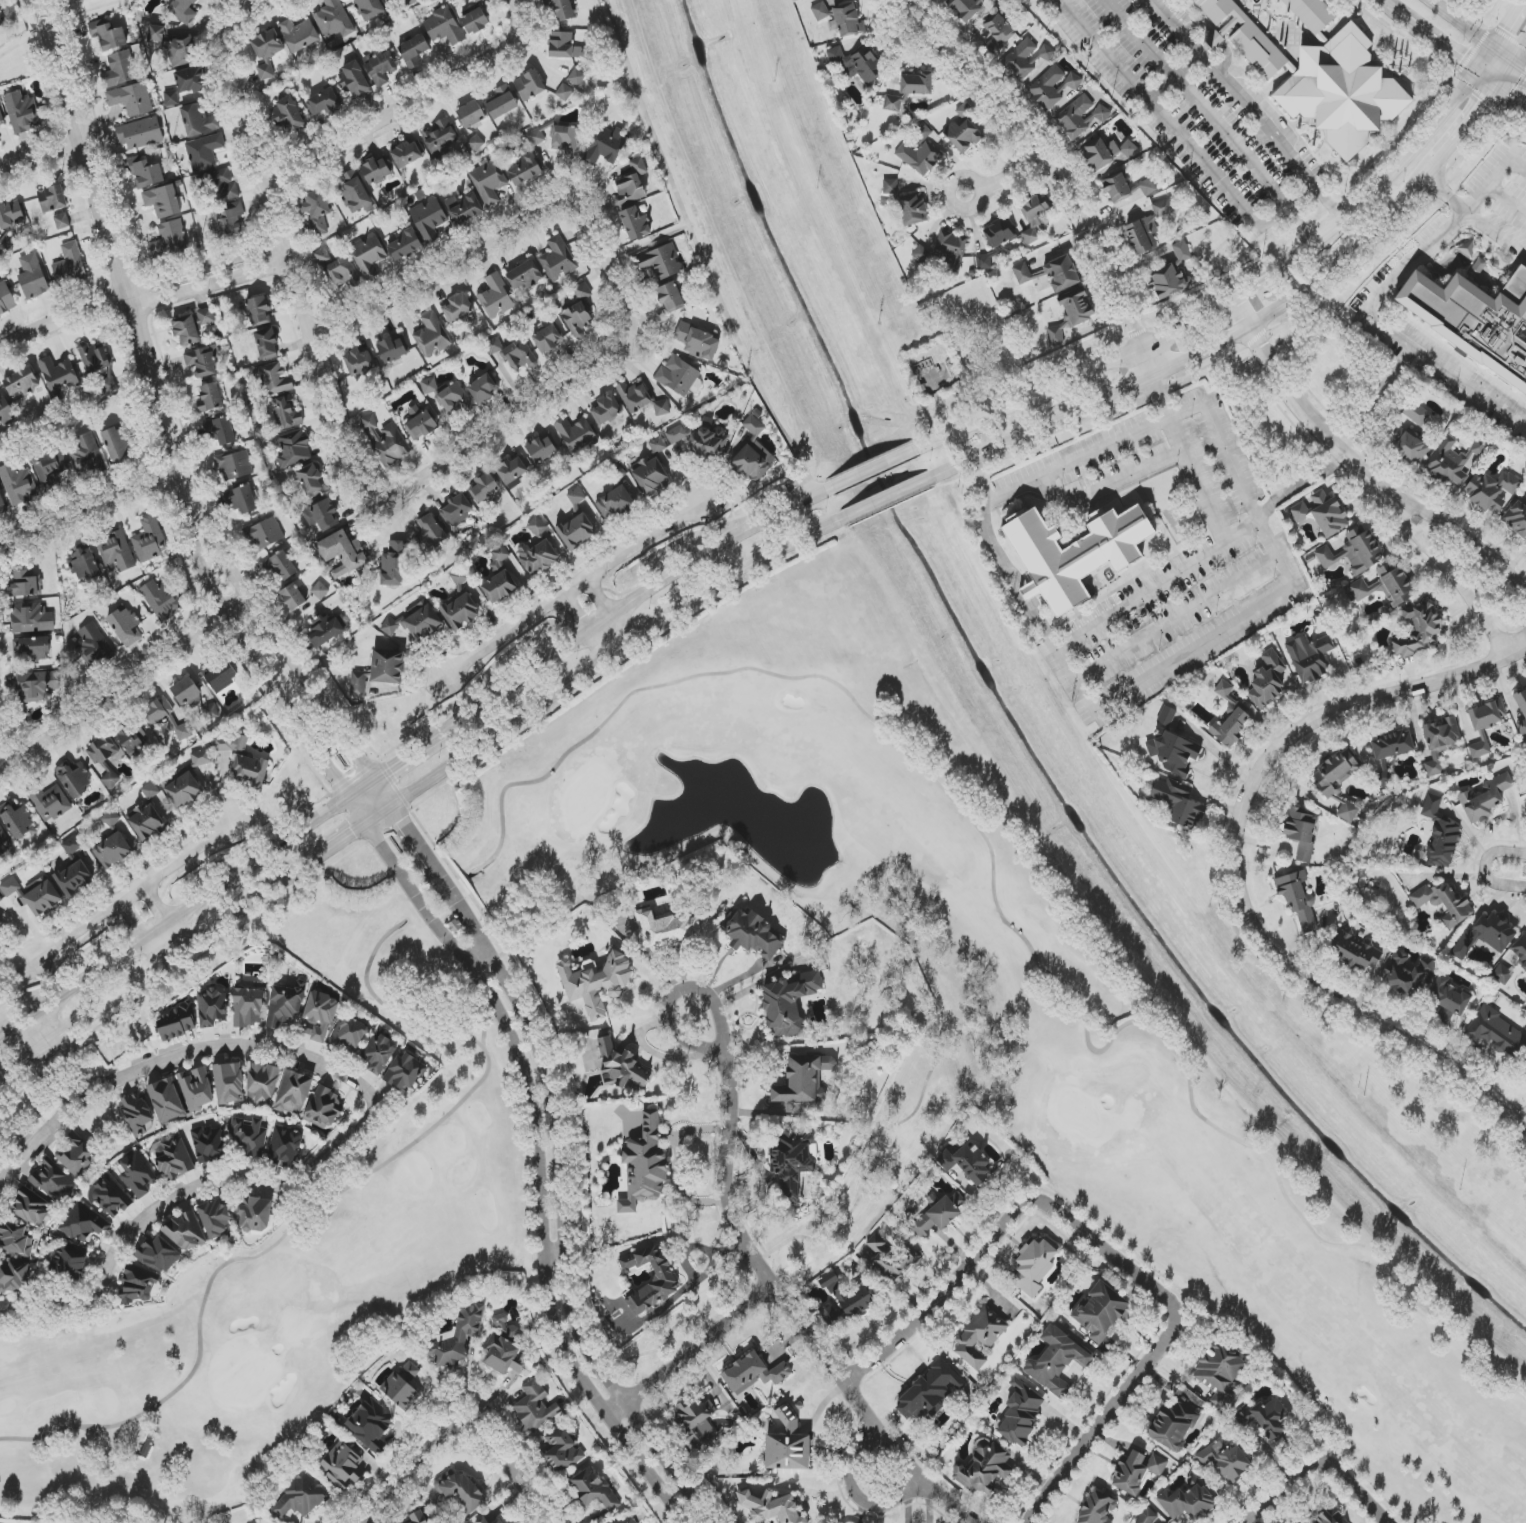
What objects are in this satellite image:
building: (388, 1)
building: (410, 2)
building: (370, 8)
building: (971, 8)
building: (561, 9)
building: (183, 10)
building: (820, 11)
road: (1396, 12)
building: (332, 19)
building: (475, 21)
building: (846, 21)
building: (2, 24)
road: (1181, 25)
road: (1509, 25)
building: (443, 27)
building: (998, 32)
traffic signals: (1505, 32)
road: (1477, 33)
building: (156, 34)
building: (299, 34)
building: (107, 35)
building: (1214, 40)
building: (267, 45)
road: (16, 47)
road: (1443, 48)
building: (414, 50)
building: (180, 51)
building: (1046, 52)
traffic signals: (1456, 59)
road: (1484, 60)
building: (856, 64)
building: (381, 67)
road: (1511, 69)
road: (1520, 69)
building: (119, 70)
building: (265, 71)
building: (1321, 73)
road: (1173, 75)
road: (43, 76)
building: (576, 77)
building: (190, 80)
building: (354, 80)
building: (1073, 81)
building: (916, 84)
building: (530, 86)
building: (1047, 88)
building: (564, 92)
road: (1500, 93)
building: (171, 98)
building: (131, 99)
building: (322, 102)
building: (502, 103)
building: (894, 103)
traffic signals: (1488, 104)
road: (412, 108)
building: (21, 111)
road: (1481, 112)
building: (1101, 113)
building: (288, 114)
building: (471, 114)
building: (1074, 117)
road: (1212, 119)
building: (1, 120)
building: (198, 120)
road: (1171, 127)
building: (140, 133)
road: (1271, 134)
building: (536, 137)
building: (439, 138)
building: (565, 140)
building: (476, 143)
building: (604, 145)
building: (1106, 151)
building: (204, 152)
building: (920, 152)
road: (1416, 152)
building: (408, 153)
road: (39, 160)
road: (1038, 165)
building: (525, 169)
building: (376, 170)
building: (145, 172)
road: (1494, 180)
road: (1002, 181)
building: (489, 182)
building: (218, 185)
building: (890, 186)
building: (1148, 186)
building: (1117, 187)
building: (354, 191)
road: (1300, 196)
building: (52, 198)
road: (1507, 199)
building: (163, 201)
building: (464, 208)
building: (913, 209)
building: (316, 211)
building: (11, 214)
building: (1035, 215)
building: (429, 219)
building: (62, 221)
building: (231, 221)
building: (634, 223)
building: (1147, 228)
building: (1000, 232)
building: (169, 239)
building: (7, 241)
road: (646, 243)
building: (405, 244)
building: (951, 251)
building: (1182, 251)
road: (700, 253)
building: (321, 255)
building: (369, 255)
building: (558, 259)
building: (986, 261)
road: (1290, 261)
building: (661, 262)
building: (70, 266)
building: (1478, 267)
building: (343, 272)
road: (1323, 272)
building: (1022, 273)
building: (1062, 274)
building: (524, 276)
building: (33, 277)
building: (1170, 283)
road: (118, 284)
road: (294, 288)
road: (617, 290)
building: (496, 296)
building: (670, 297)
building: (6, 299)
road: (139, 299)
building: (1077, 306)
building: (458, 307)
building: (258, 310)
road: (368, 312)
road: (1367, 313)
building: (579, 314)
building: (205, 317)
building: (1474, 320)
building: (185, 328)
road: (1190, 328)
building: (432, 336)
building: (1055, 336)
building: (548, 338)
building: (698, 342)
building: (267, 344)
building: (394, 349)
building: (514, 353)
building: (94, 360)
building: (202, 361)
building: (359, 361)
road: (1147, 362)
building: (59, 376)
building: (274, 379)
building: (107, 384)
building: (22, 385)
building: (429, 385)
building: (483, 388)
building: (634, 396)
road: (1034, 396)
building: (211, 397)
building: (455, 399)
road: (1378, 399)
building: (662, 408)
building: (5, 410)
building: (607, 410)
road: (1306, 412)
building: (1415, 412)
building: (286, 413)
building: (420, 422)
road: (1049, 424)
building: (221, 430)
building: (576, 435)
building: (386, 442)
building: (696, 442)
building: (116, 443)
building: (658, 445)
building: (1408, 445)
building: (294, 449)
building: (542, 449)
building: (752, 453)
building: (86, 455)
building: (1453, 461)
building: (234, 465)
building: (49, 467)
road: (874, 469)
road: (1060, 469)
building: (513, 471)
building: (650, 474)
building: (310, 479)
building: (18, 484)
road: (1112, 485)
building: (485, 487)
building: (1491, 491)
building: (576, 496)
road: (891, 498)
building: (243, 499)
building: (615, 502)
building: (2, 505)
building: (457, 509)
building: (1321, 513)
building: (322, 515)
road: (87, 517)
building: (1517, 518)
road: (1219, 522)
building: (537, 526)
building: (577, 531)
building: (431, 532)
building: (264, 534)
road: (1466, 537)
building: (149, 539)
building: (342, 551)
building: (1354, 551)
building: (117, 553)
building: (1075, 554)
building: (539, 557)
road: (708, 558)
building: (499, 559)
building: (84, 563)
building: (283, 566)
building: (392, 569)
building: (339, 572)
road: (1456, 575)
building: (26, 584)
building: (1384, 586)
building: (500, 587)
road: (577, 589)
building: (320, 590)
road: (1139, 592)
building: (293, 597)
road: (597, 598)
building: (160, 599)
road: (578, 611)
building: (460, 612)
road: (1173, 616)
building: (31, 618)
building: (415, 622)
building: (125, 627)
building: (327, 628)
building: (1418, 630)
road: (604, 635)
building: (94, 646)
building: (31, 649)
road: (1190, 653)
road: (607, 654)
building: (1310, 657)
building: (387, 667)
road: (298, 669)
road: (520, 674)
building: (219, 675)
building: (1268, 680)
road: (275, 682)
building: (358, 684)
building: (37, 686)
building: (1223, 689)
road: (115, 692)
building: (187, 693)
building: (211, 711)
building: (1521, 712)
building: (1166, 716)
building: (1488, 716)
building: (166, 718)
building: (1230, 728)
building: (126, 739)
building: (1440, 742)
building: (230, 743)
building: (1392, 745)
building: (1480, 749)
building: (102, 750)
building: (1174, 752)
road: (409, 754)
road: (0, 768)
building: (250, 769)
building: (1335, 772)
building: (75, 779)
building: (110, 780)
building: (188, 781)
road: (361, 789)
building: (151, 790)
building: (1485, 799)
building: (1178, 803)
building: (1347, 812)
road: (356, 813)
road: (380, 817)
building: (111, 818)
building: (18, 821)
building: (147, 821)
road: (404, 823)
building: (1302, 832)
building: (1440, 834)
building: (4, 840)
road: (340, 844)
building: (72, 845)
building: (113, 851)
road: (1235, 864)
road: (1485, 867)
building: (74, 878)
building: (10, 887)
road: (137, 891)
building: (43, 898)
building: (1, 899)
building: (1298, 899)
building: (1443, 903)
road: (172, 917)
building: (0, 923)
building: (666, 927)
building: (755, 935)
building: (1485, 936)
building: (1356, 950)
building: (1520, 950)
road: (180, 958)
road: (477, 961)
building: (1405, 973)
building: (1503, 975)
road: (157, 976)
building: (596, 983)
road: (673, 995)
building: (1449, 1000)
building: (788, 1003)
building: (285, 1004)
building: (248, 1007)
building: (213, 1008)
building: (320, 1016)
building: (177, 1023)
building: (1495, 1031)
building: (350, 1034)
park: (1072, 1042)
building: (380, 1054)
road: (54, 1063)
building: (621, 1066)
building: (406, 1072)
building: (803, 1079)
building: (229, 1083)
building: (262, 1084)
building: (197, 1088)
building: (294, 1093)
building: (167, 1101)
building: (324, 1109)
building: (137, 1113)
road: (363, 1124)
road: (1516, 1127)
building: (250, 1136)
building: (208, 1145)
building: (285, 1146)
road: (1516, 1146)
building: (76, 1155)
building: (175, 1159)
building: (645, 1163)
building: (792, 1163)
building: (966, 1163)
road: (677, 1166)
road: (537, 1171)
road: (867, 1174)
building: (136, 1175)
road: (726, 1176)
building: (54, 1182)
building: (110, 1197)
road: (562, 1201)
building: (32, 1207)
building: (255, 1213)
building: (939, 1216)
building: (217, 1218)
building: (84, 1223)
building: (185, 1231)
building: (15, 1240)
road: (1109, 1253)
building: (159, 1255)
road: (554, 1257)
building: (892, 1258)
building: (70, 1262)
building: (628, 1263)
building: (1034, 1266)
building: (14, 1276)
road: (696, 1276)
building: (652, 1282)
building: (138, 1285)
building: (847, 1306)
building: (1101, 1311)
building: (458, 1337)
building: (980, 1337)
building: (504, 1349)
road: (690, 1352)
building: (1056, 1361)
building: (753, 1373)
building: (1221, 1373)
building: (402, 1387)
building: (925, 1395)
building: (536, 1406)
road: (864, 1412)
building: (1021, 1414)
road: (460, 1418)
building: (1265, 1418)
building: (697, 1422)
building: (371, 1424)
building: (1173, 1426)
building: (788, 1445)
building: (562, 1449)
building: (1225, 1459)
building: (343, 1466)
road: (1311, 1466)
building: (983, 1467)
building: (1137, 1471)
building: (593, 1489)
building: (462, 1493)
road: (858, 1495)
building: (300, 1498)
building: (1187, 1500)
building: (772, 1507)
building: (1097, 1509)
building: (1147, 1516)
building: (418, 1517)
building: (1326, 1518)
building: (493, 1519)

